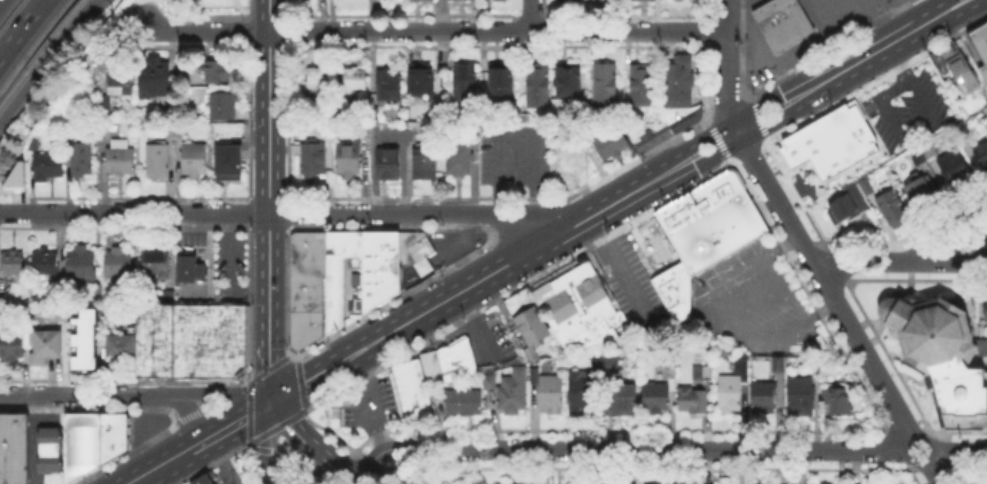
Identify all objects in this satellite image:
building: (462, 0)
building: (573, 0)
building: (424, 1)
building: (644, 1)
parking lot: (751, 3)
road: (269, 15)
road: (530, 15)
parking lot: (844, 16)
road: (884, 20)
building: (782, 22)
road: (20, 26)
road: (433, 30)
building: (981, 40)
parking lot: (773, 54)
road: (48, 60)
road: (727, 66)
building: (957, 68)
building: (985, 71)
building: (220, 72)
building: (157, 79)
building: (355, 79)
building: (421, 80)
building: (121, 81)
building: (570, 81)
building: (318, 82)
building: (681, 82)
road: (909, 82)
building: (605, 84)
building: (642, 84)
building: (390, 85)
building: (503, 85)
building: (539, 85)
building: (467, 86)
road: (876, 99)
building: (557, 103)
parking lot: (908, 106)
building: (107, 107)
building: (225, 107)
building: (437, 114)
building: (985, 114)
road: (518, 128)
building: (666, 132)
building: (827, 141)
building: (37, 142)
building: (609, 143)
building: (922, 153)
building: (982, 156)
parking lot: (514, 157)
building: (460, 158)
building: (83, 159)
building: (122, 159)
building: (313, 159)
building: (159, 160)
road: (269, 160)
building: (196, 162)
building: (349, 162)
building: (230, 163)
building: (571, 164)
building: (390, 165)
building: (51, 168)
building: (953, 169)
building: (427, 172)
building: (14, 173)
road: (659, 176)
building: (20, 179)
building: (922, 197)
building: (844, 208)
building: (894, 211)
road: (134, 212)
road: (410, 213)
road: (955, 229)
building: (702, 233)
building: (417, 252)
road: (900, 261)
building: (13, 264)
building: (118, 264)
building: (47, 265)
building: (82, 265)
building: (157, 265)
parking lot: (229, 267)
building: (192, 268)
road: (229, 269)
building: (382, 283)
road: (825, 285)
parking lot: (630, 288)
building: (99, 289)
building: (310, 289)
building: (2, 298)
parking lot: (754, 305)
building: (583, 308)
building: (986, 310)
road: (718, 312)
building: (67, 314)
building: (528, 317)
building: (927, 329)
parking lot: (493, 337)
building: (189, 343)
building: (13, 345)
building: (49, 346)
road: (269, 347)
building: (117, 348)
building: (984, 348)
building: (84, 350)
building: (611, 365)
building: (447, 366)
building: (597, 366)
building: (780, 366)
building: (818, 367)
building: (672, 373)
building: (703, 373)
building: (537, 377)
road: (312, 379)
building: (490, 380)
building: (948, 381)
building: (734, 387)
building: (409, 389)
road: (212, 392)
building: (583, 392)
building: (516, 393)
building: (552, 395)
road: (76, 396)
building: (801, 397)
building: (657, 398)
building: (764, 399)
building: (622, 401)
building: (692, 401)
building: (841, 402)
road: (364, 403)
building: (465, 403)
traffic signals: (270, 405)
parking lot: (359, 410)
road: (186, 412)
road: (290, 427)
parking lot: (141, 428)
road: (230, 428)
road: (152, 432)
building: (89, 443)
road: (262, 444)
building: (16, 448)
road: (644, 449)
road: (959, 450)
building: (47, 453)
road: (277, 457)
road: (221, 460)
road: (910, 462)
road: (365, 464)
road: (330, 465)
road: (293, 466)
road: (853, 466)
road: (162, 467)
road: (933, 473)
building: (206, 481)
road: (142, 482)
road: (350, 482)
road: (222, 483)
building: (652, 483)
building: (822, 483)
building: (899, 483)

